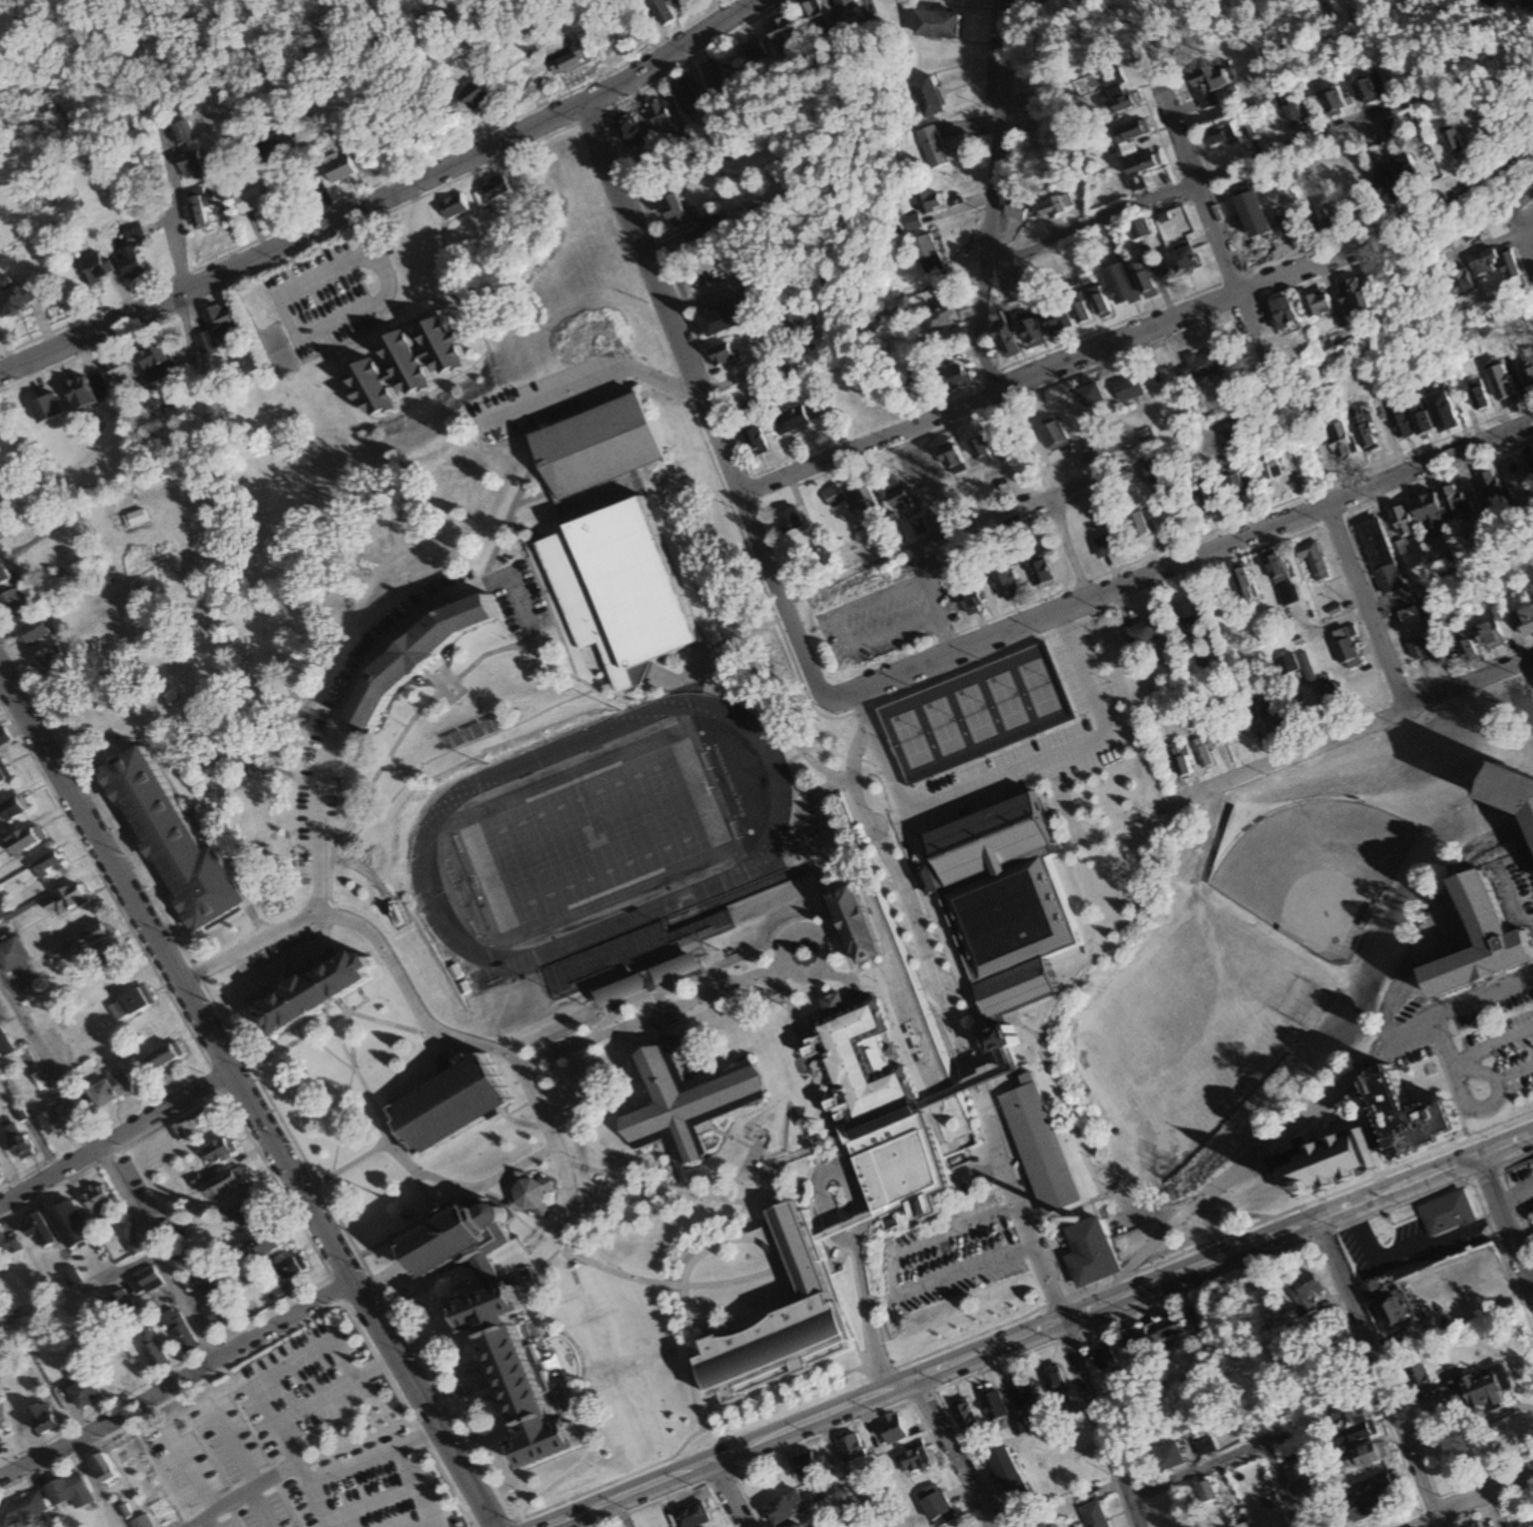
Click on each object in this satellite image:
road: (675, 144)
road: (1196, 183)
road: (386, 192)
road: (1201, 192)
road: (990, 197)
road: (174, 209)
road: (1511, 211)
road: (1525, 236)
road: (310, 330)
road: (1144, 332)
road: (1267, 374)
road: (591, 381)
road: (708, 405)
building: (592, 443)
road: (532, 496)
road: (1058, 523)
road: (918, 547)
road: (1181, 562)
road: (488, 566)
building: (617, 589)
road: (1366, 606)
road: (728, 638)
road: (562, 651)
building: (412, 658)
road: (575, 678)
road: (665, 678)
park: (1041, 685)
road: (439, 695)
park: (1009, 698)
park: (978, 711)
park: (944, 724)
road: (1349, 731)
park: (907, 739)
road: (449, 754)
road: (866, 772)
road: (1028, 778)
road: (368, 792)
building: (1510, 795)
park: (593, 835)
track: (769, 839)
road: (808, 854)
stadium: (608, 859)
park: (1318, 872)
road: (906, 892)
building: (999, 900)
road: (1506, 901)
building: (854, 928)
road: (807, 931)
road: (894, 933)
building: (1475, 944)
road: (854, 978)
building: (310, 995)
road: (416, 995)
road: (785, 1000)
road: (664, 1003)
road: (365, 1014)
road: (1040, 1021)
road: (629, 1026)
road: (663, 1030)
park: (1209, 1033)
road: (308, 1037)
road: (1490, 1043)
road: (280, 1052)
road: (1445, 1056)
road: (1473, 1071)
road: (259, 1080)
road: (407, 1091)
road: (246, 1098)
building: (682, 1101)
road: (520, 1104)
building: (448, 1105)
building: (883, 1107)
road: (525, 1122)
road: (385, 1124)
road: (1288, 1127)
road: (115, 1138)
road: (745, 1142)
road: (667, 1143)
building: (1361, 1144)
building: (1039, 1147)
road: (373, 1150)
road: (665, 1155)
road: (1086, 1159)
road: (518, 1166)
road: (109, 1168)
road: (823, 1171)
road: (623, 1177)
road: (740, 1179)
road: (422, 1191)
road: (1508, 1191)
building: (530, 1192)
road: (1082, 1205)
road: (672, 1206)
road: (1025, 1206)
road: (1221, 1210)
road: (751, 1216)
chimney: (1078, 1220)
road: (732, 1223)
road: (858, 1223)
road: (1300, 1223)
road: (1505, 1223)
road: (833, 1233)
road: (854, 1233)
road: (1522, 1235)
building: (453, 1237)
road: (548, 1248)
building: (1092, 1253)
road: (367, 1264)
road: (394, 1274)
road: (894, 1290)
road: (405, 1299)
road: (685, 1303)
road: (865, 1307)
building: (780, 1319)
road: (1045, 1346)
road: (1376, 1372)
building: (516, 1373)
road: (178, 1383)
road: (565, 1387)
road: (791, 1399)
road: (465, 1401)
road: (269, 1408)
road: (809, 1420)
road: (1106, 1421)
road: (421, 1440)
road: (239, 1447)
road: (399, 1449)
road: (1238, 1451)
road: (952, 1452)
road: (298, 1455)
road: (663, 1461)
road: (484, 1467)
road: (197, 1471)
road: (846, 1472)
road: (1480, 1480)
road: (726, 1493)
road: (248, 1494)
road: (1472, 1501)
road: (326, 1506)
road: (267, 1508)
road: (1485, 1508)
road: (622, 1513)
road: (213, 1522)

